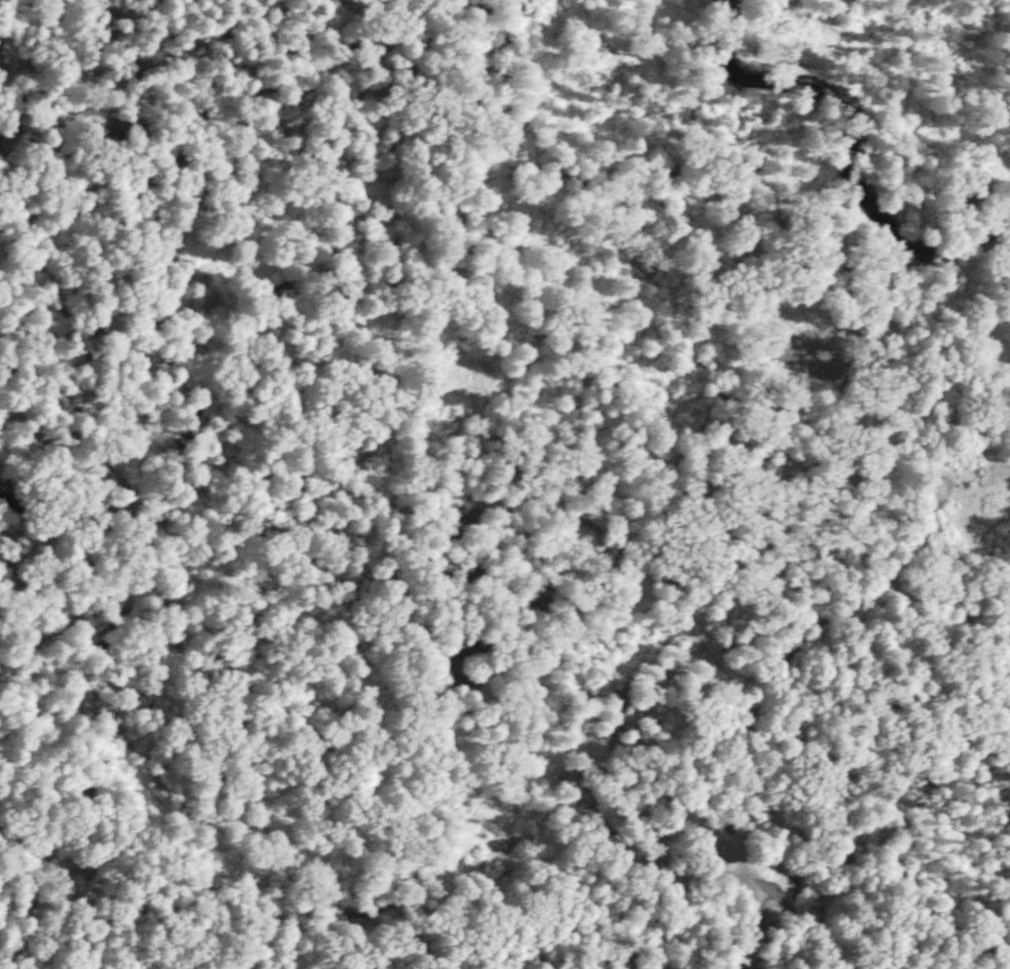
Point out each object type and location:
park: (1008, 31)
river: (849, 145)

